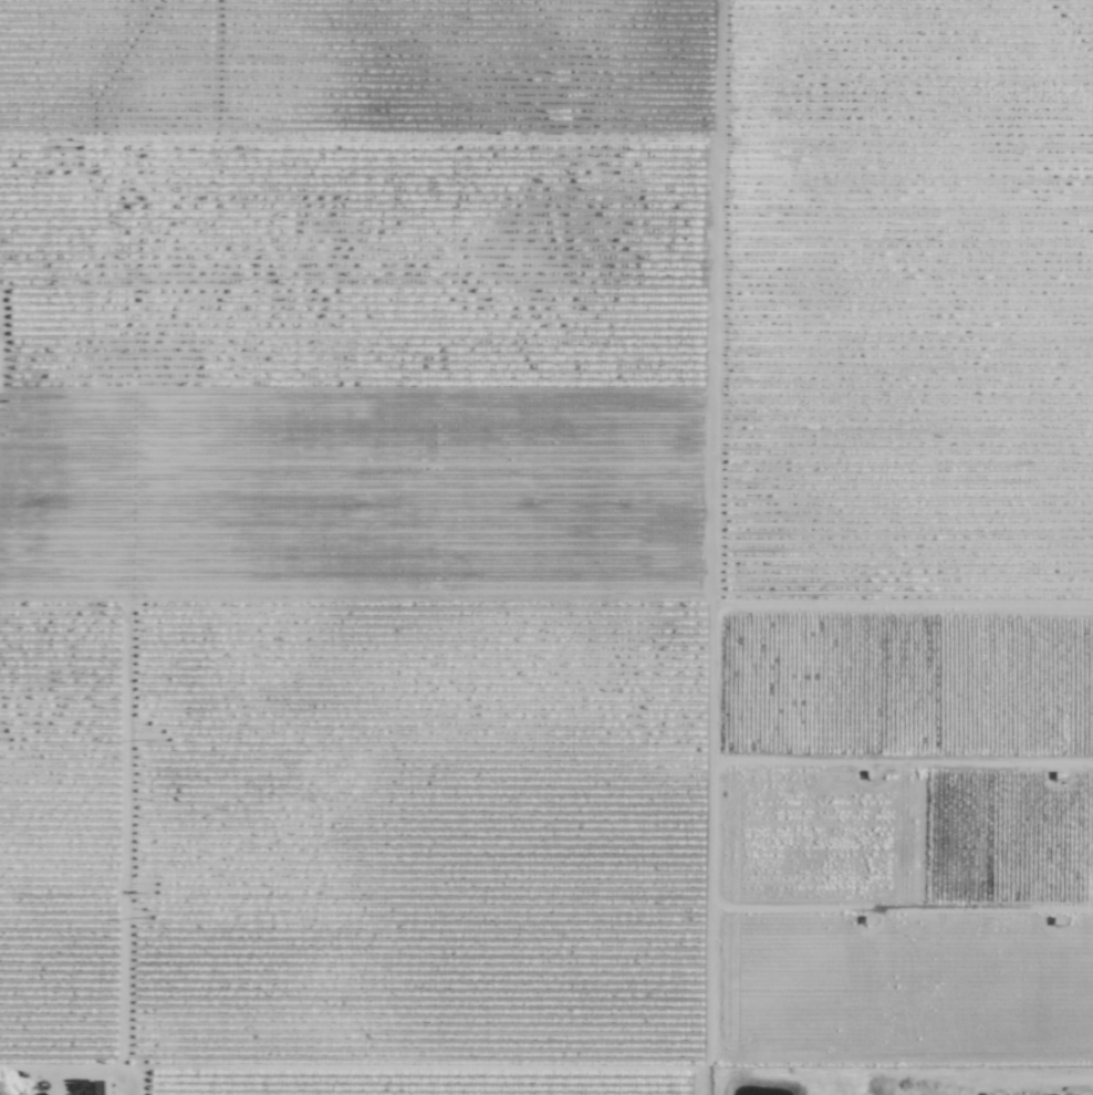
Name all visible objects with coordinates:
road: (29, 1071)
road: (101, 1073)
road: (59, 1084)
building: (96, 1087)
building: (12, 1094)

